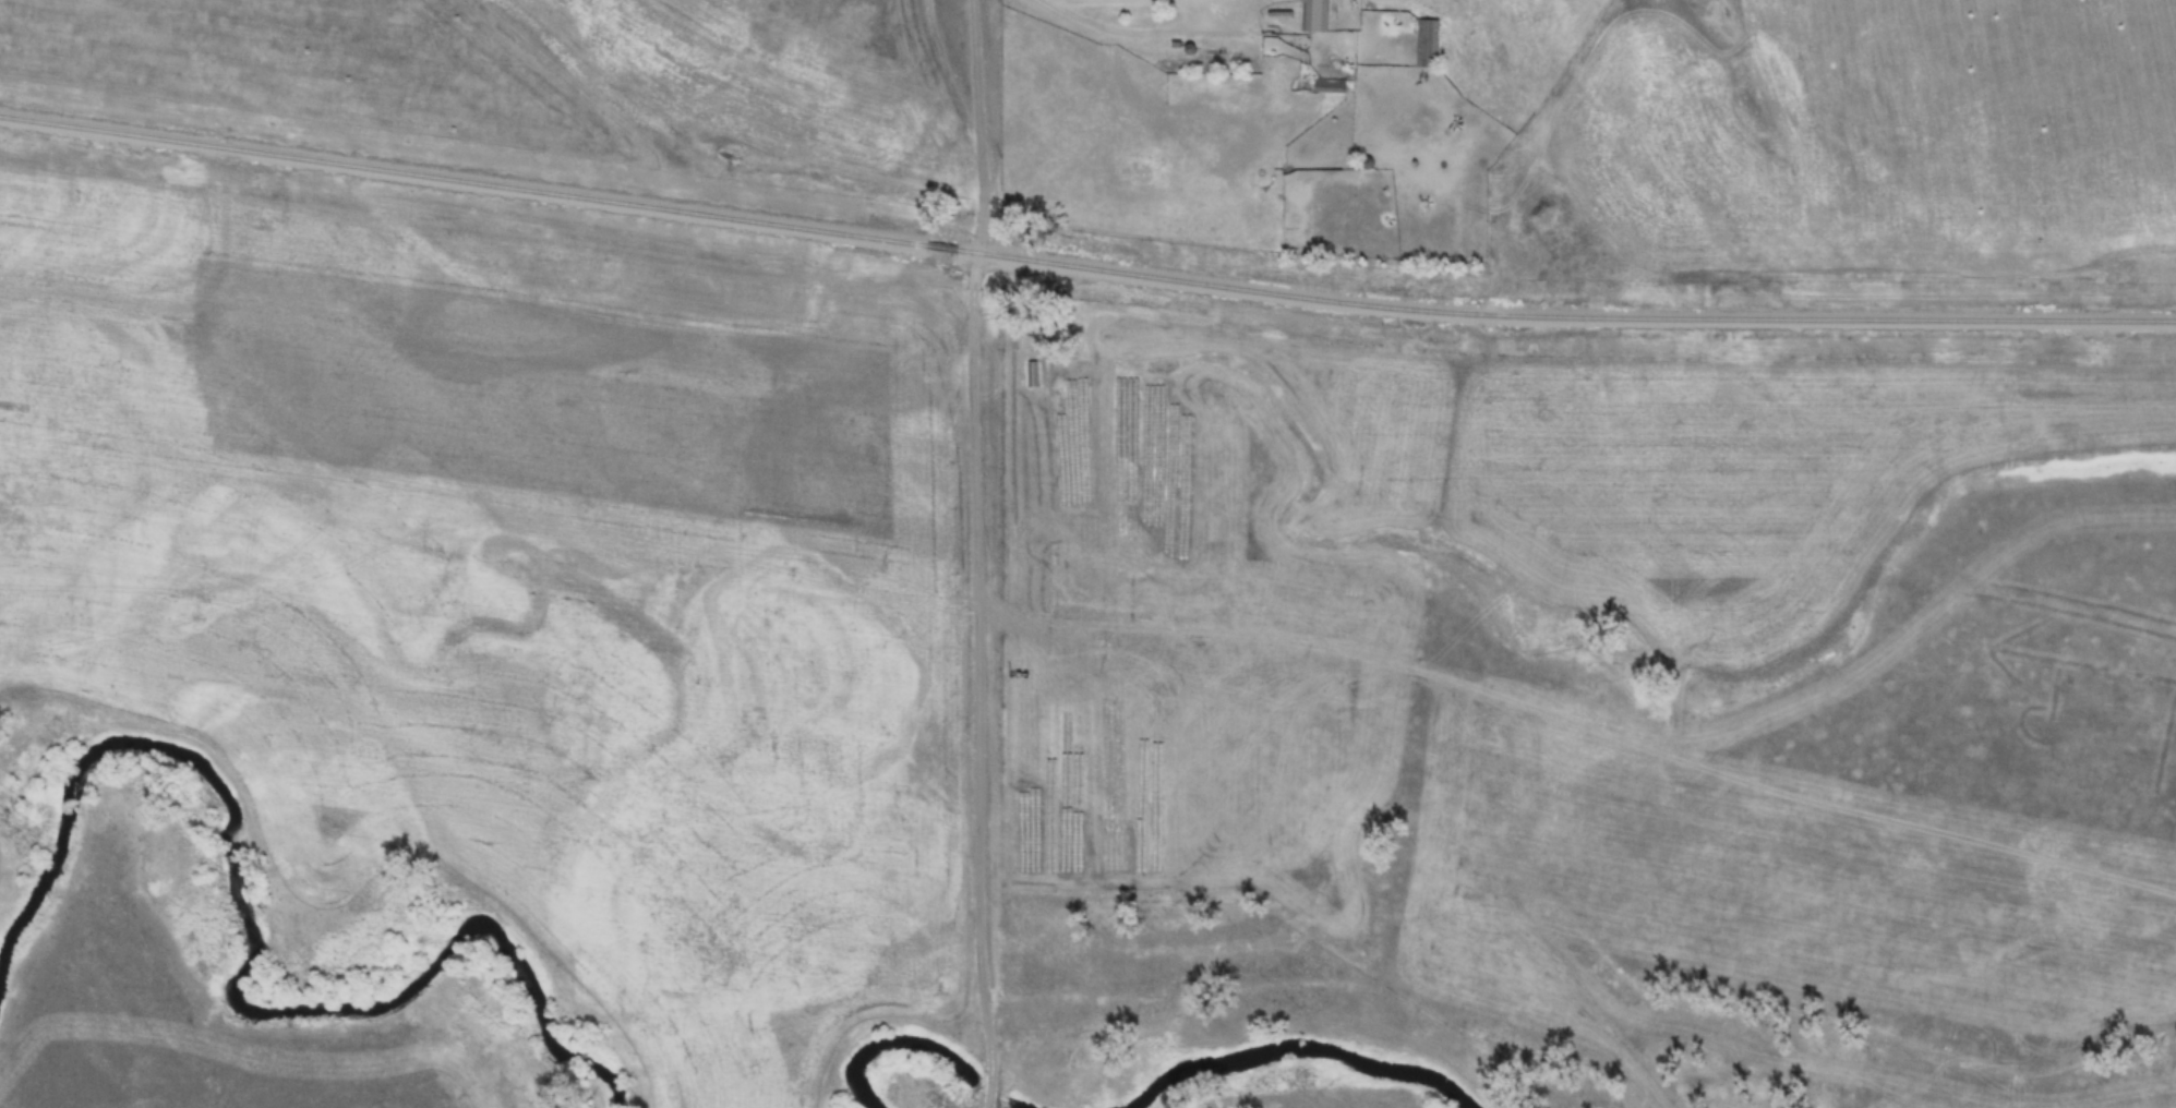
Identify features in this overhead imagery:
building: (1317, 14)
building: (1429, 41)
building: (1331, 84)
road: (976, 154)
railway: (461, 179)
railway: (940, 248)
railway: (1564, 316)
crop: (508, 585)
road: (969, 711)

